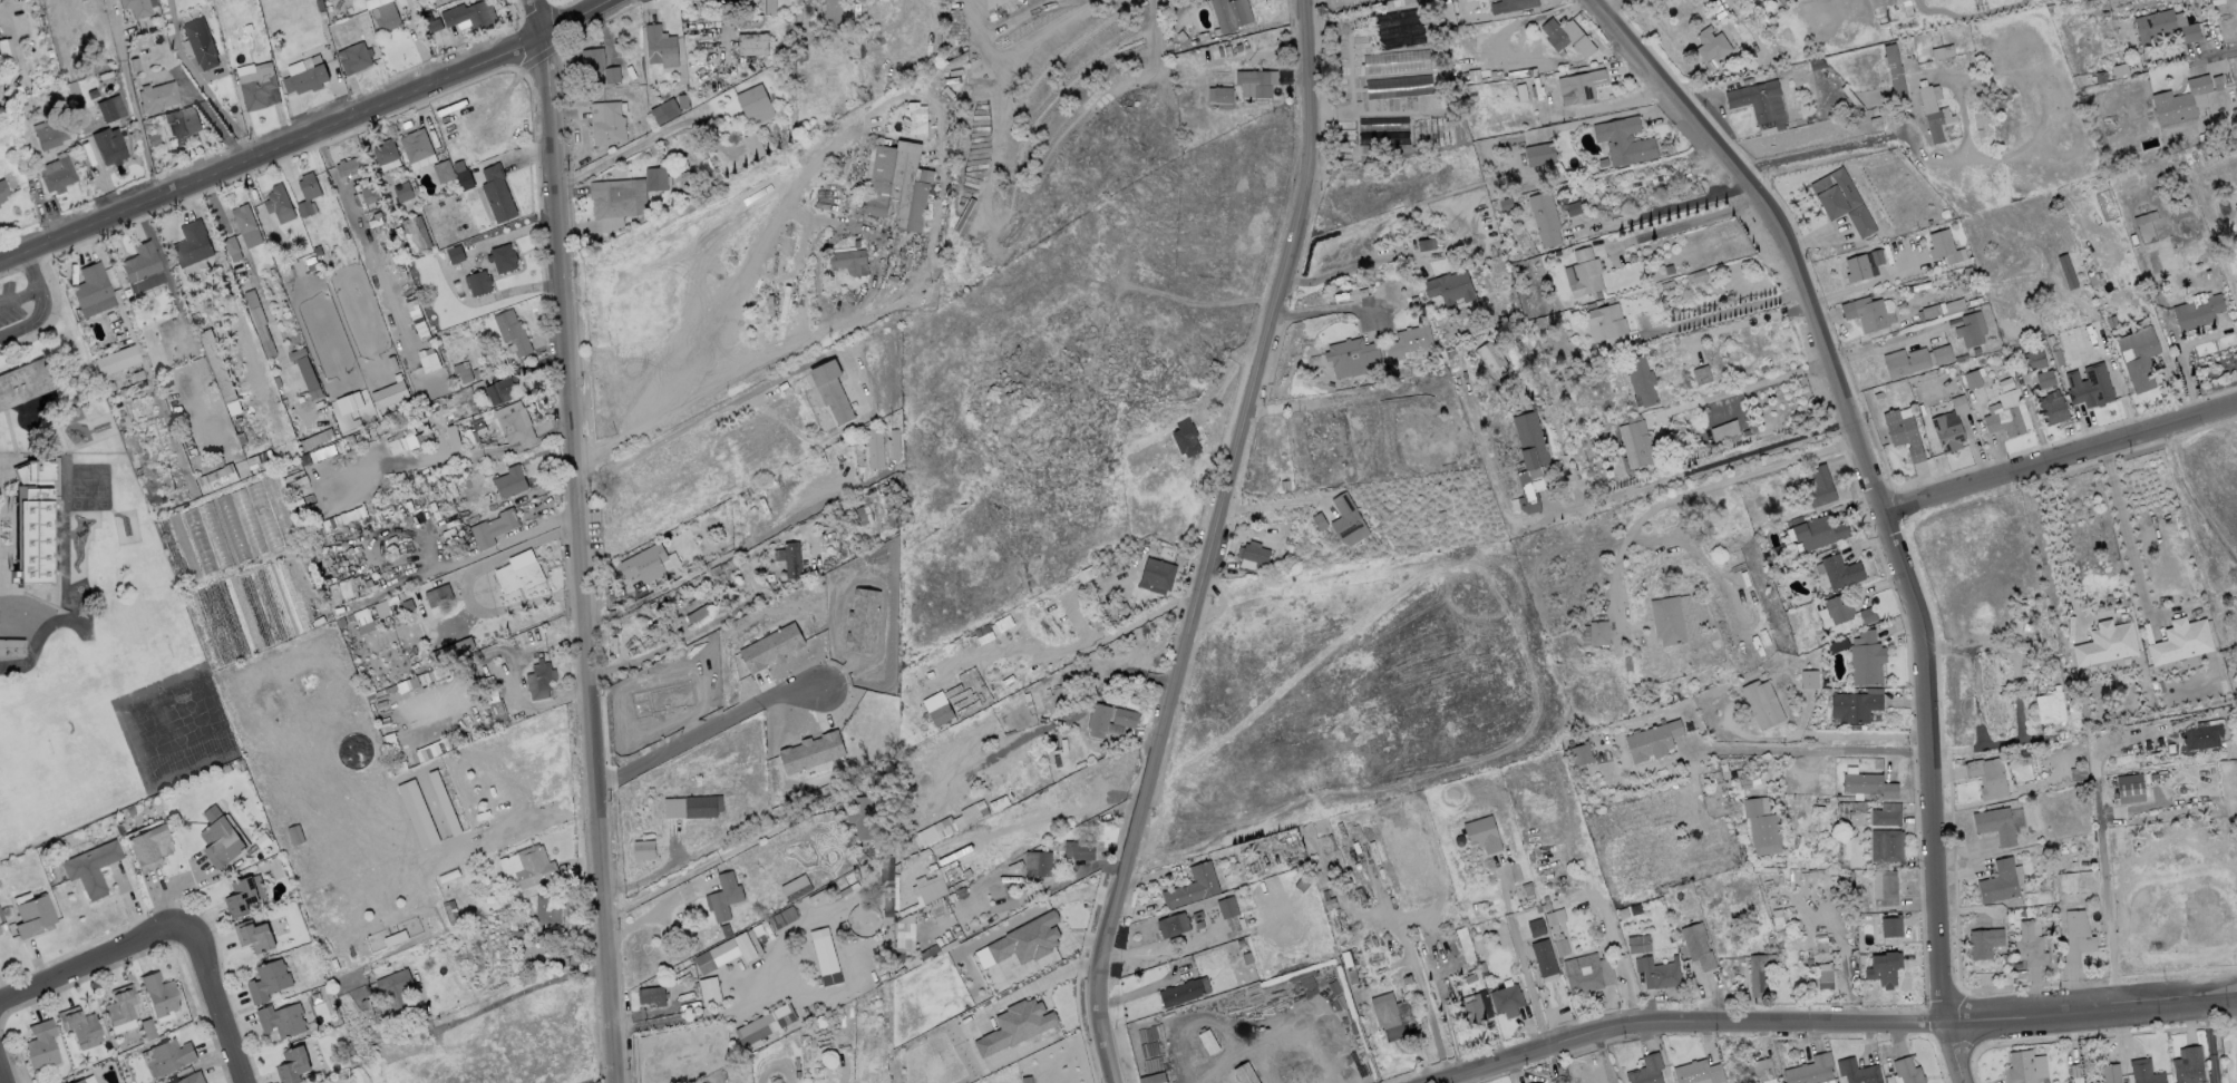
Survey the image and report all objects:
building: (440, 0)
road: (971, 0)
building: (1797, 0)
building: (1340, 1)
building: (1879, 2)
building: (1508, 6)
building: (135, 7)
building: (767, 7)
building: (833, 13)
building: (1231, 13)
building: (469, 14)
building: (385, 17)
building: (435, 23)
building: (2162, 28)
building: (1566, 37)
building: (200, 43)
building: (752, 43)
building: (660, 46)
building: (1713, 46)
road: (1014, 49)
building: (1942, 51)
road: (2215, 52)
building: (6, 55)
building: (352, 57)
building: (594, 60)
building: (305, 78)
building: (1255, 81)
building: (1579, 86)
building: (259, 87)
building: (1219, 95)
building: (156, 97)
road: (212, 99)
building: (751, 99)
building: (2179, 99)
road: (130, 100)
building: (55, 101)
building: (1762, 103)
building: (0, 104)
building: (109, 108)
building: (664, 110)
building: (1934, 114)
building: (914, 118)
road: (1594, 118)
building: (607, 125)
building: (176, 129)
building: (48, 134)
road: (303, 136)
building: (1622, 140)
building: (415, 145)
building: (108, 146)
road: (1829, 148)
building: (385, 152)
road: (624, 152)
road: (1930, 153)
building: (1539, 154)
road: (1774, 162)
building: (350, 166)
building: (442, 170)
building: (56, 174)
building: (8, 175)
building: (655, 178)
building: (897, 185)
building: (402, 191)
building: (3, 192)
building: (305, 192)
building: (496, 193)
building: (616, 197)
building: (1842, 202)
building: (278, 203)
road: (1662, 209)
building: (2236, 209)
building: (2138, 211)
building: (1544, 217)
building: (245, 225)
building: (411, 234)
building: (191, 243)
building: (1426, 243)
building: (1943, 246)
building: (231, 248)
road: (755, 250)
building: (455, 253)
building: (503, 257)
building: (849, 262)
building: (138, 263)
building: (1857, 267)
building: (1584, 273)
building: (2068, 273)
road: (456, 276)
building: (477, 283)
building: (1450, 287)
road: (36, 289)
building: (90, 290)
road: (41, 310)
road: (1324, 310)
building: (2197, 310)
building: (1869, 312)
road: (1749, 321)
building: (259, 323)
building: (1608, 324)
building: (1969, 329)
road: (12, 331)
building: (512, 332)
building: (1408, 341)
building: (424, 352)
building: (1352, 353)
building: (1939, 354)
building: (1491, 359)
building: (2035, 359)
building: (115, 360)
building: (1904, 361)
building: (2140, 364)
building: (461, 371)
building: (220, 372)
building: (1701, 374)
building: (1640, 379)
building: (1972, 379)
building: (2045, 379)
building: (23, 386)
building: (2089, 386)
road: (711, 388)
building: (502, 390)
building: (831, 391)
building: (343, 392)
building: (389, 394)
building: (47, 397)
building: (2050, 408)
building: (2003, 419)
building: (514, 428)
building: (1724, 430)
building: (1947, 431)
building: (1904, 433)
building: (1186, 438)
building: (1636, 443)
building: (875, 448)
road: (2060, 453)
road: (456, 456)
building: (257, 462)
building: (1530, 462)
road: (1692, 470)
building: (509, 481)
building: (1819, 486)
road: (1701, 492)
road: (2191, 494)
road: (1881, 500)
building: (259, 503)
building: (276, 504)
road: (1266, 504)
building: (1346, 520)
building: (36, 524)
building: (493, 527)
road: (2124, 528)
building: (1817, 530)
road: (578, 540)
road: (2056, 541)
road: (1204, 543)
road: (736, 550)
building: (1253, 555)
building: (792, 560)
building: (643, 563)
building: (1840, 570)
building: (517, 575)
building: (1156, 575)
building: (437, 595)
building: (1838, 608)
building: (854, 611)
building: (1866, 615)
building: (1823, 617)
building: (984, 618)
building: (1672, 619)
building: (1598, 633)
building: (764, 636)
road: (681, 637)
building: (2180, 642)
building: (2105, 644)
building: (11, 647)
building: (1866, 658)
building: (960, 665)
building: (1809, 679)
building: (537, 680)
building: (652, 690)
building: (1761, 704)
building: (1854, 705)
building: (2049, 706)
building: (1125, 718)
building: (1101, 721)
road: (706, 730)
building: (2201, 735)
building: (1652, 741)
building: (417, 744)
building: (807, 744)
road: (1817, 749)
building: (1581, 754)
building: (1987, 777)
building: (1868, 784)
building: (2129, 788)
building: (700, 807)
building: (417, 813)
building: (863, 817)
building: (1885, 817)
building: (1995, 825)
building: (1761, 826)
building: (1481, 833)
building: (220, 837)
building: (1885, 845)
building: (147, 846)
building: (643, 849)
building: (1078, 850)
road: (2101, 852)
building: (1038, 862)
building: (90, 865)
building: (439, 866)
building: (533, 866)
building: (1998, 881)
building: (1192, 887)
building: (1884, 888)
building: (240, 896)
building: (724, 896)
building: (1226, 907)
building: (546, 908)
road: (655, 911)
building: (32, 915)
building: (1171, 925)
building: (1890, 926)
building: (1536, 927)
building: (1556, 930)
building: (0, 933)
building: (2076, 935)
building: (254, 936)
building: (1027, 939)
building: (1984, 941)
building: (1637, 944)
building: (1696, 945)
building: (2029, 945)
building: (724, 953)
road: (1520, 954)
building: (825, 956)
building: (1543, 958)
road: (95, 966)
building: (1884, 968)
building: (1660, 973)
building: (1759, 973)
building: (1825, 979)
building: (268, 980)
building: (1583, 982)
road: (1140, 989)
building: (709, 991)
building: (395, 992)
building: (1180, 993)
road: (518, 994)
building: (158, 995)
building: (650, 995)
building: (1506, 999)
road: (217, 1003)
building: (118, 1005)
building: (1472, 1009)
building: (1385, 1014)
building: (1009, 1016)
building: (281, 1019)
road: (1836, 1022)
building: (76, 1024)
building: (765, 1024)
road: (2210, 1040)
building: (1207, 1041)
building: (39, 1045)
building: (169, 1055)
road: (1602, 1057)
building: (292, 1065)
building: (2188, 1066)
building: (1750, 1067)
building: (2020, 1067)
building: (1645, 1070)
building: (1811, 1071)
building: (1907, 1071)
building: (1698, 1072)
building: (1857, 1072)
building: (2144, 1072)
building: (2109, 1073)
road: (2, 1074)
building: (1244, 1074)
building: (192, 1077)
building: (1152, 1077)
road: (1463, 1080)
building: (76, 1081)
building: (1537, 1082)

